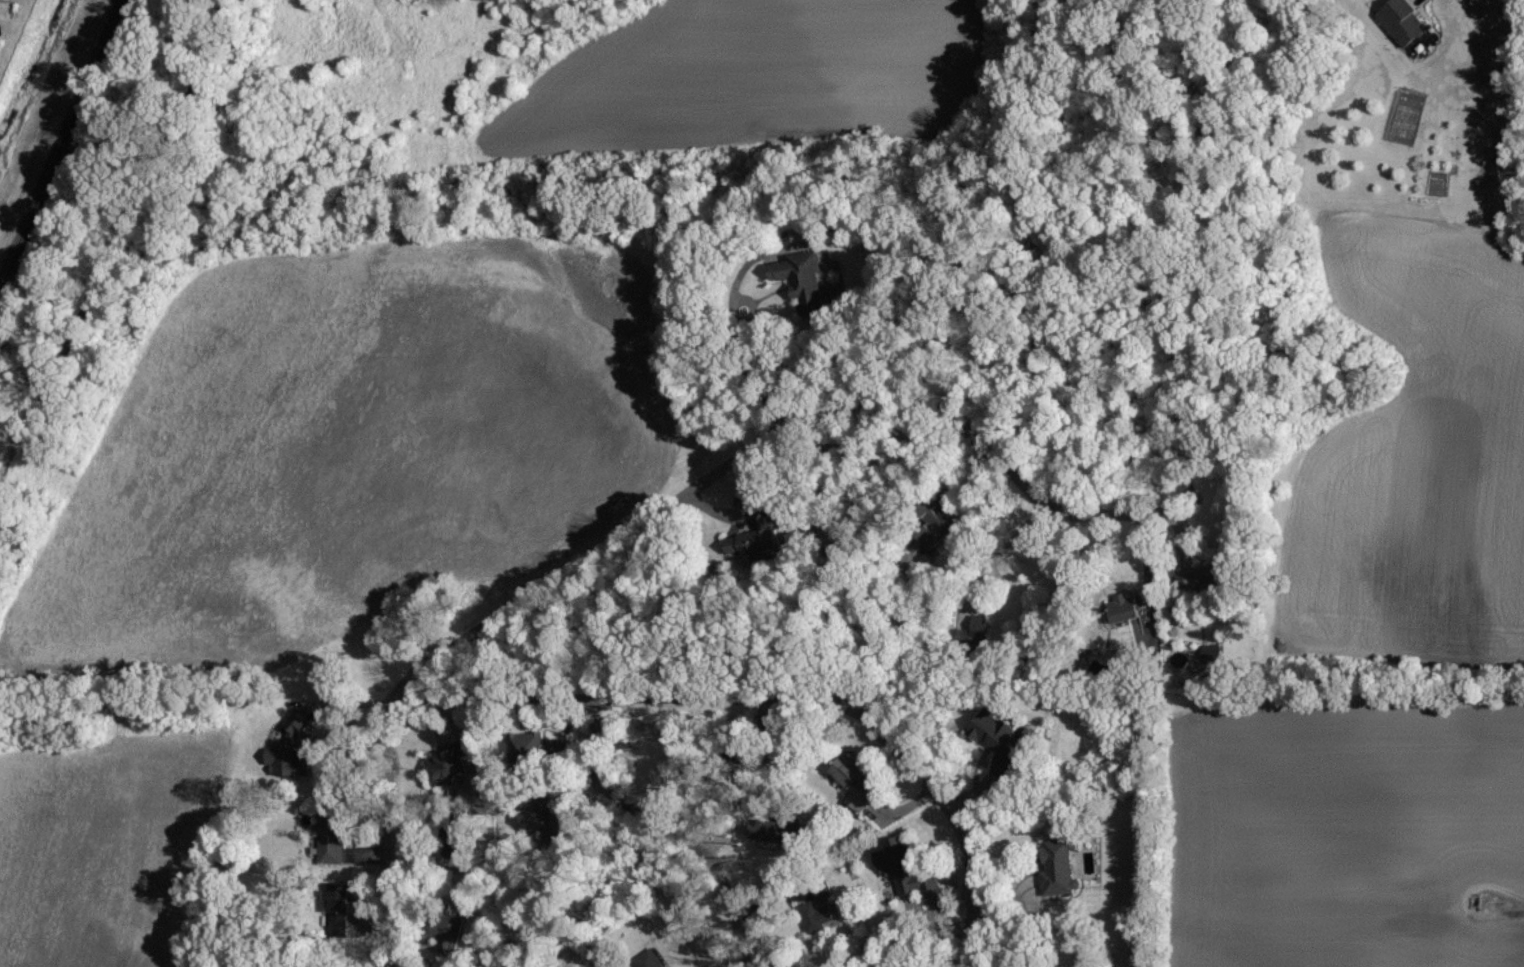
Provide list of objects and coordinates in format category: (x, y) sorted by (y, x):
building: (1400, 23)
crop: (738, 72)
railway: (63, 148)
building: (801, 274)
road: (775, 434)
crop: (342, 446)
crop: (1417, 456)
road: (708, 505)
road: (731, 515)
building: (938, 518)
road: (1180, 531)
building: (758, 534)
road: (997, 554)
building: (1202, 581)
building: (1123, 606)
building: (979, 626)
building: (1209, 650)
road: (772, 697)
road: (495, 699)
building: (296, 723)
building: (527, 741)
building: (999, 741)
building: (287, 759)
building: (855, 785)
building: (770, 828)
road: (387, 831)
road: (671, 832)
crop: (1339, 840)
crop: (104, 847)
building: (330, 847)
road: (971, 861)
building: (1056, 872)
building: (907, 873)
building: (343, 897)
petroleum well: (1478, 901)
building: (817, 908)
building: (648, 961)

